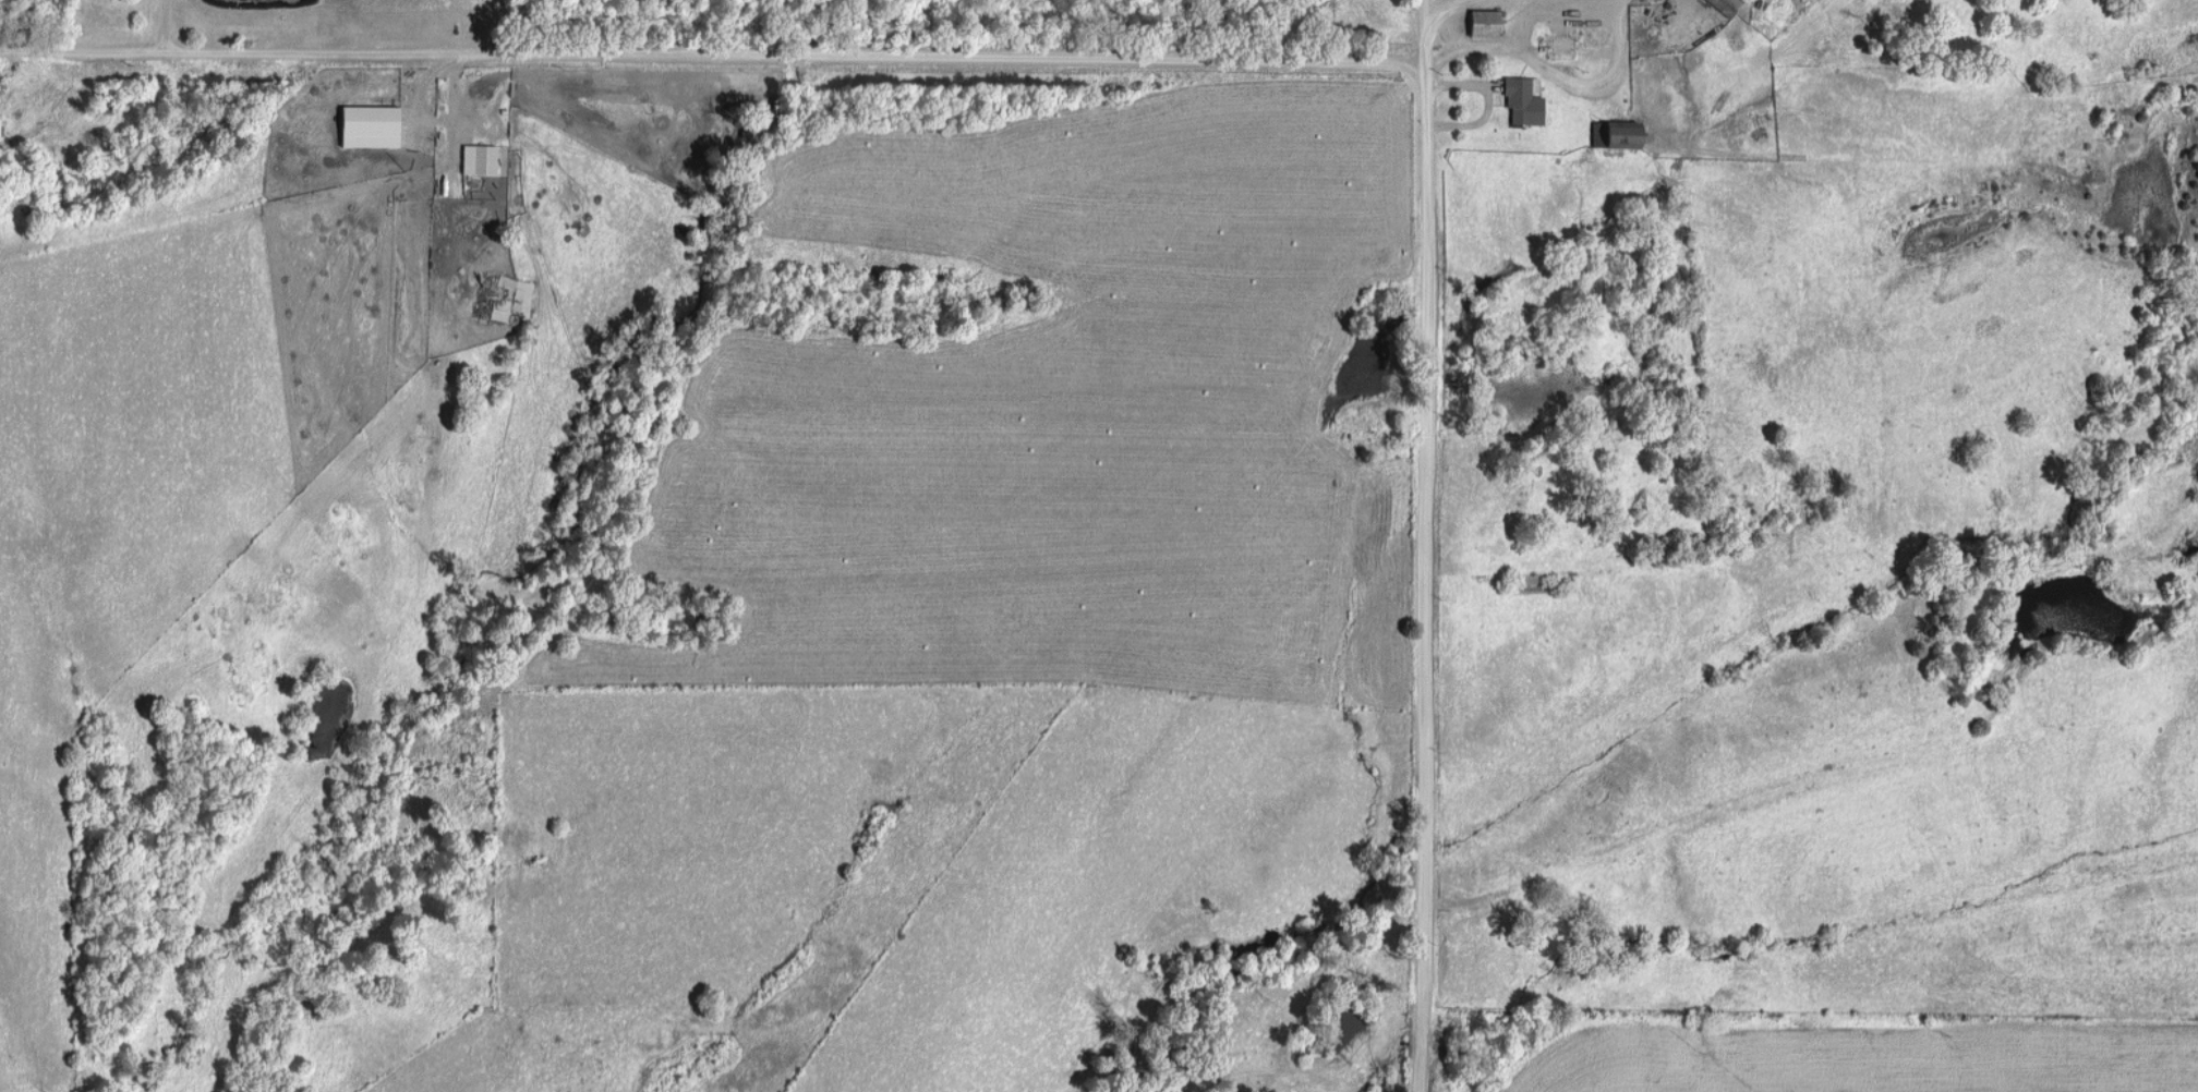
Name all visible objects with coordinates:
building: (1482, 22)
building: (1557, 46)
road: (715, 57)
building: (1521, 100)
building: (366, 125)
building: (1617, 133)
building: (476, 158)
road: (1425, 545)

